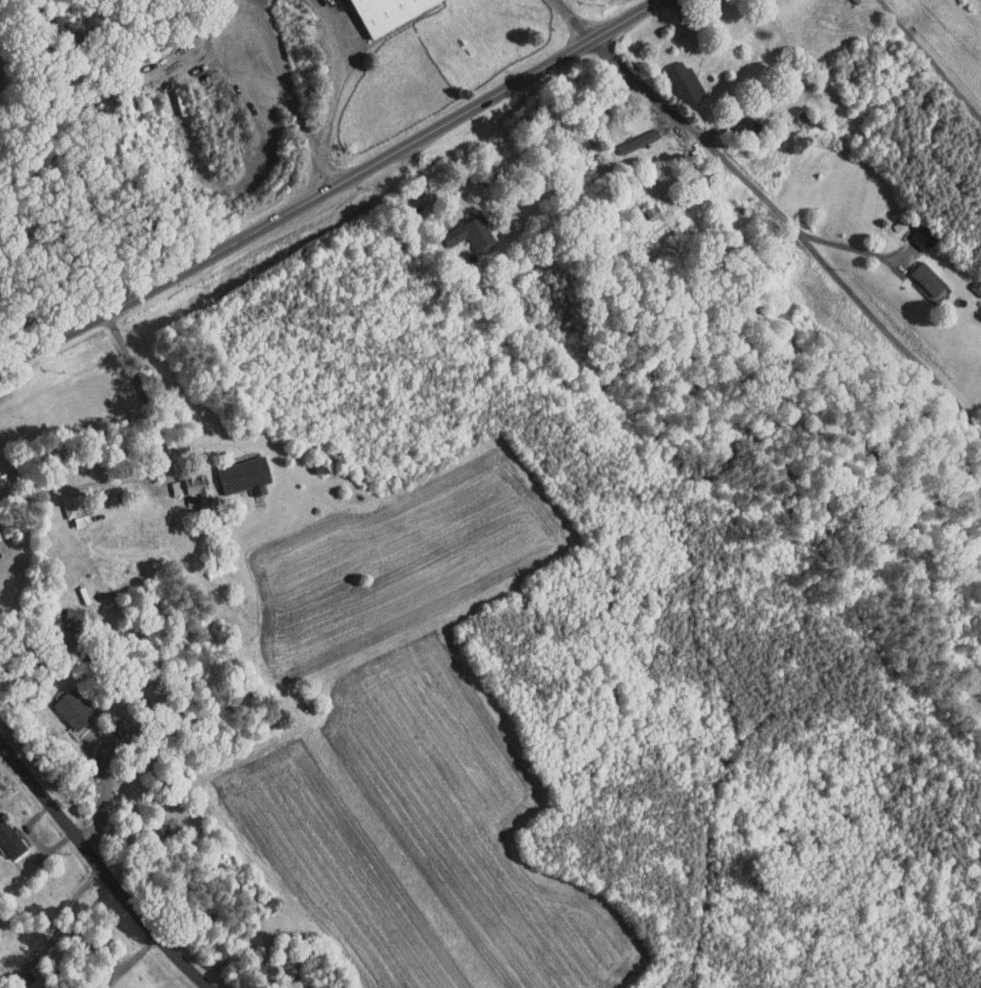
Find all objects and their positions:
building: (375, 10)
road: (577, 19)
road: (932, 59)
road: (338, 70)
road: (281, 75)
building: (675, 76)
building: (629, 134)
road: (328, 166)
road: (334, 189)
building: (461, 227)
road: (795, 229)
building: (914, 231)
road: (852, 247)
building: (919, 272)
road: (158, 466)
building: (235, 468)
building: (184, 482)
building: (66, 504)
building: (61, 610)
building: (65, 703)
road: (3, 754)
road: (105, 793)
building: (5, 838)
road: (812, 861)
road: (102, 868)
road: (52, 911)

